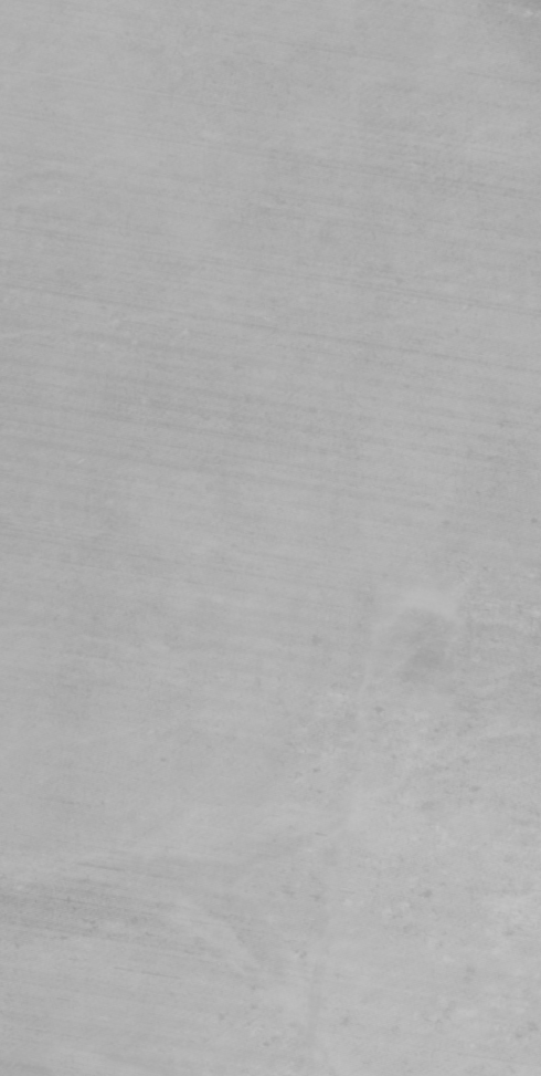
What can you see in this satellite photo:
road: (270, 513)

